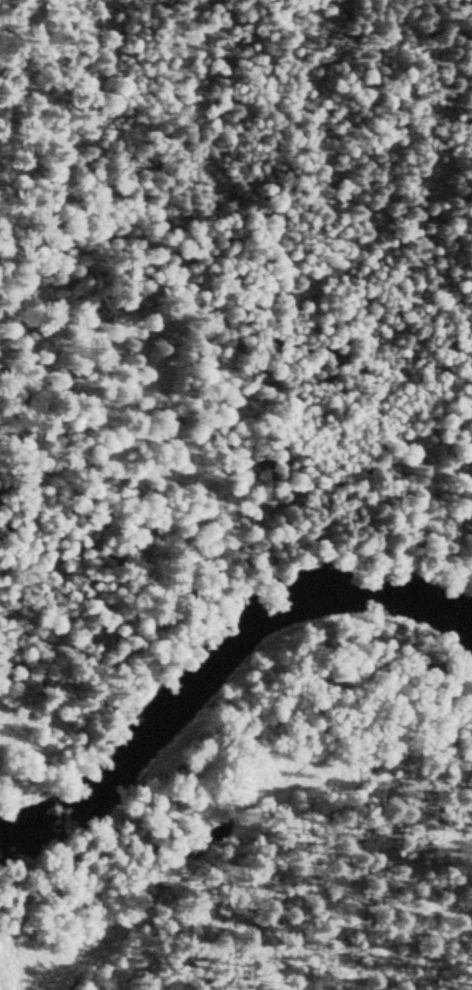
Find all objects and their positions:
river: (217, 662)

